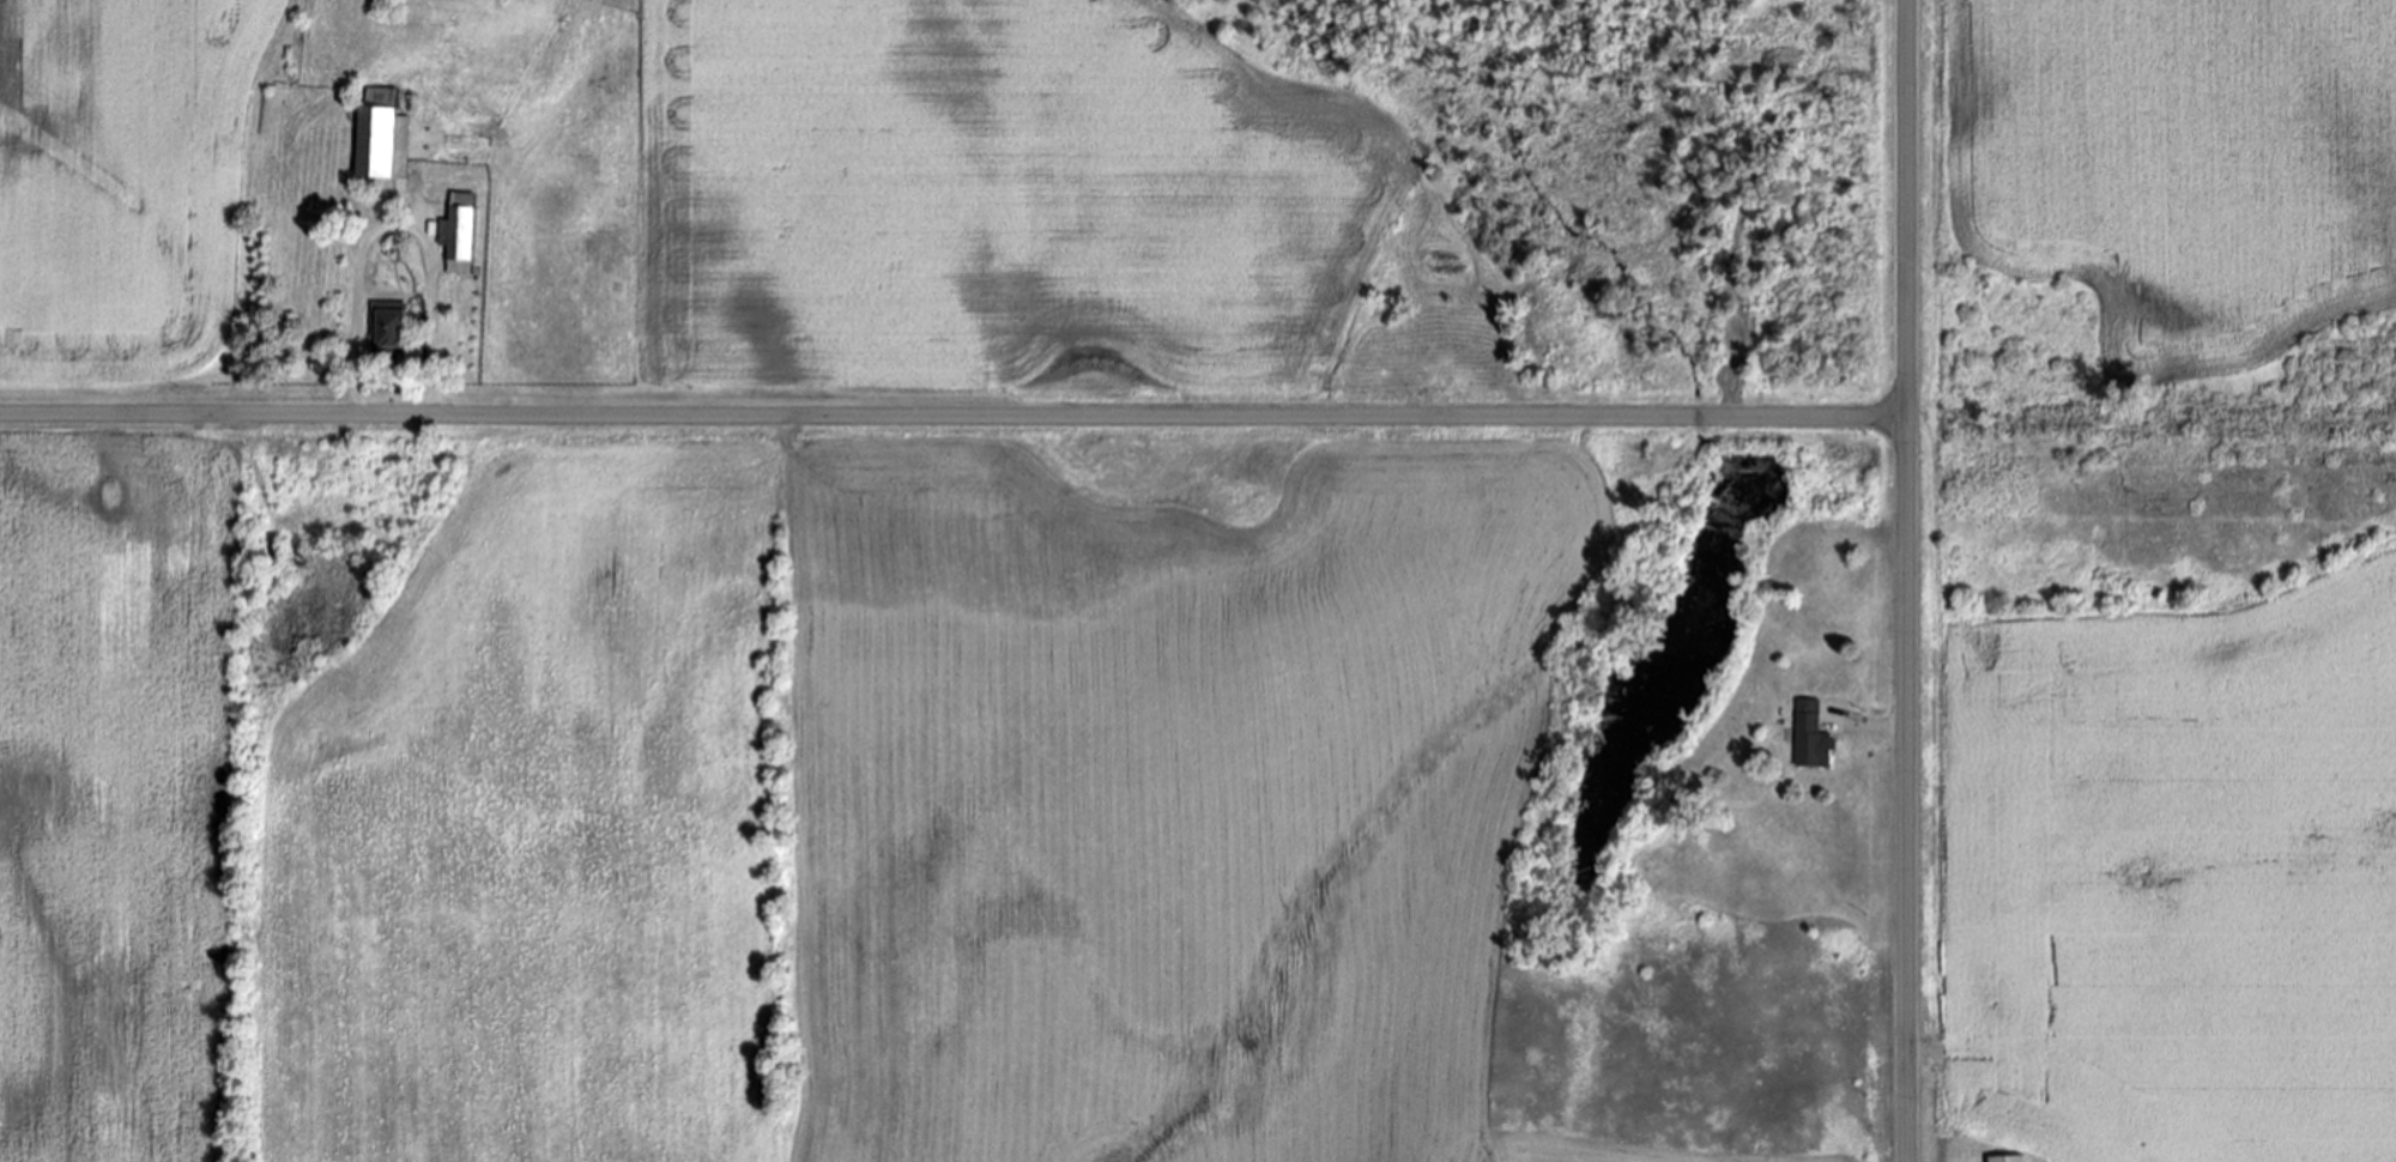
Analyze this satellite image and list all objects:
building: (386, 134)
road: (397, 226)
building: (461, 232)
building: (393, 326)
road: (952, 416)
road: (1905, 581)
road: (1881, 725)
building: (1815, 737)
building: (2010, 1158)

